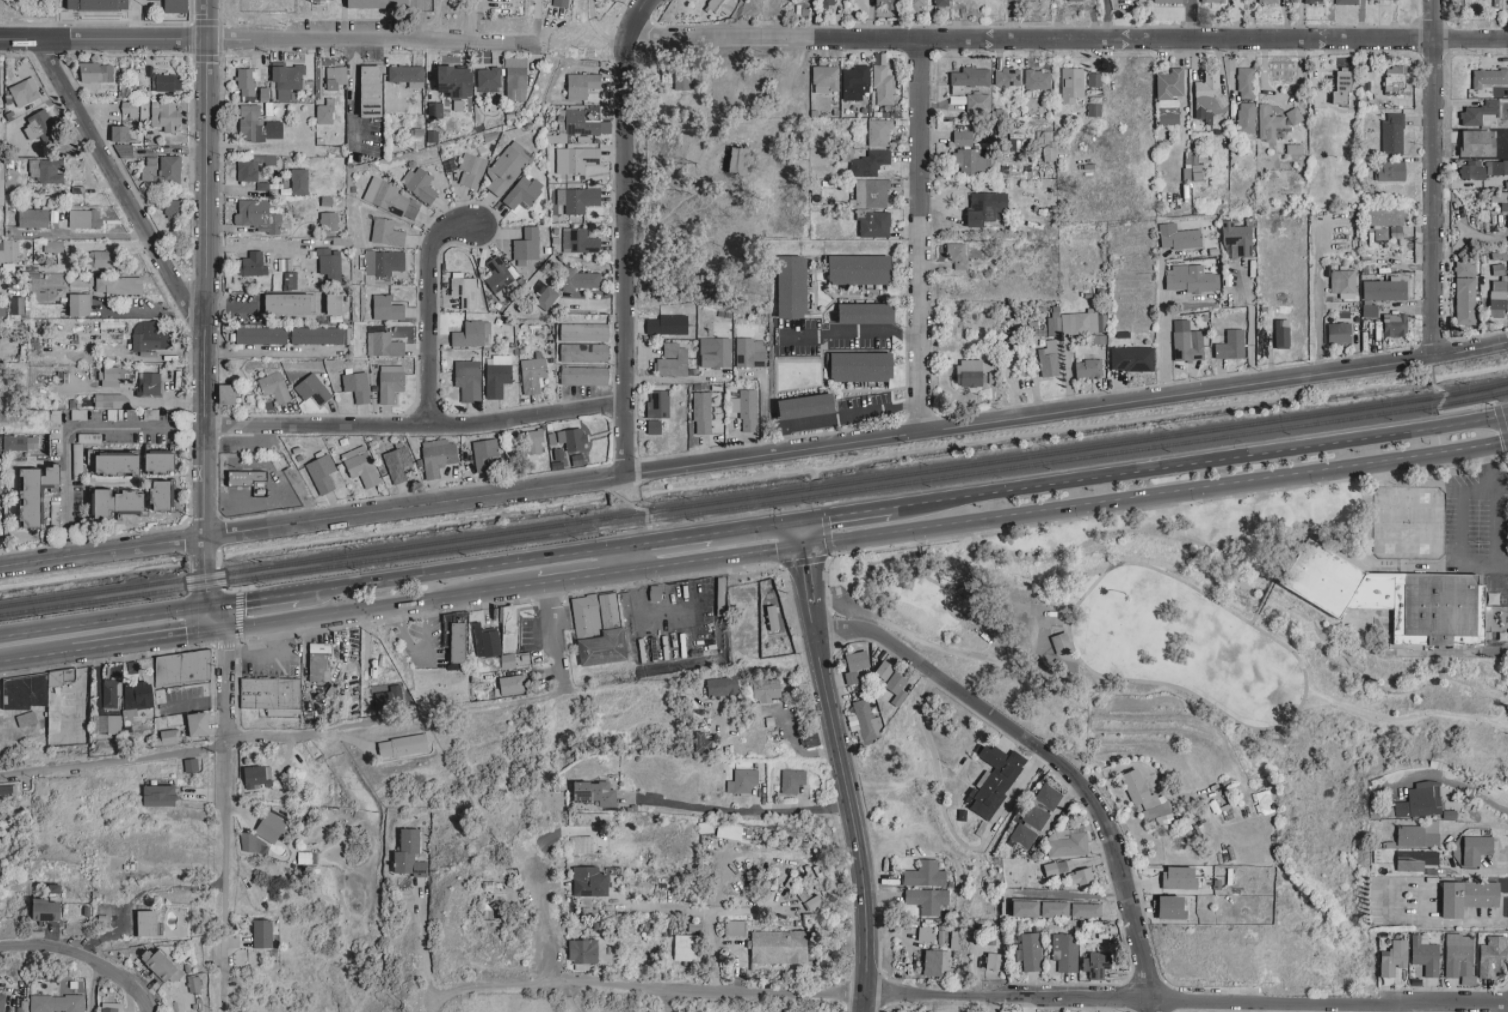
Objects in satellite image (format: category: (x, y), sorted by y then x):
building: (1374, 0)
building: (37, 1)
building: (1168, 1)
building: (1213, 1)
building: (1267, 1)
building: (1313, 1)
building: (561, 2)
building: (827, 2)
building: (917, 2)
building: (942, 2)
building: (1487, 2)
building: (375, 3)
building: (887, 4)
building: (97, 6)
building: (721, 6)
building: (175, 7)
road: (211, 20)
road: (470, 20)
road: (536, 20)
road: (636, 20)
road: (1300, 20)
road: (1106, 21)
road: (1192, 21)
road: (1506, 21)
road: (596, 28)
road: (105, 39)
road: (371, 41)
road: (1064, 42)
building: (97, 72)
building: (407, 75)
building: (683, 76)
building: (971, 76)
building: (1007, 76)
building: (336, 77)
building: (489, 77)
building: (1486, 77)
building: (516, 78)
building: (826, 78)
building: (1396, 78)
building: (1038, 79)
building: (1094, 79)
building: (287, 80)
building: (458, 80)
building: (855, 81)
building: (882, 81)
building: (166, 82)
building: (247, 82)
building: (1246, 82)
building: (1073, 84)
building: (582, 85)
building: (1343, 88)
building: (373, 90)
building: (24, 91)
building: (0, 92)
building: (1210, 92)
building: (1170, 95)
road: (353, 96)
building: (978, 102)
building: (1477, 112)
building: (325, 113)
building: (165, 114)
building: (592, 114)
building: (1294, 116)
building: (1246, 117)
building: (568, 122)
building: (1268, 122)
building: (258, 125)
building: (41, 126)
building: (120, 132)
building: (878, 132)
building: (1393, 132)
building: (1045, 137)
building: (963, 138)
building: (577, 158)
building: (741, 158)
building: (972, 161)
building: (870, 163)
building: (253, 166)
building: (507, 167)
building: (1498, 167)
building: (1192, 168)
building: (162, 169)
building: (46, 170)
building: (471, 170)
building: (1392, 171)
building: (1467, 171)
road: (1435, 178)
building: (300, 181)
building: (419, 184)
road: (122, 187)
building: (524, 192)
building: (1, 193)
building: (872, 193)
building: (390, 198)
building: (1498, 198)
building: (577, 199)
building: (332, 201)
building: (987, 207)
building: (172, 209)
building: (258, 215)
building: (1385, 216)
building: (33, 218)
building: (80, 218)
building: (329, 222)
building: (874, 223)
building: (386, 232)
building: (1396, 232)
road: (1467, 234)
road: (81, 237)
road: (920, 237)
building: (1178, 237)
building: (579, 240)
building: (1236, 240)
building: (53, 246)
building: (526, 246)
building: (9, 250)
building: (958, 255)
road: (624, 257)
building: (104, 258)
building: (329, 261)
building: (255, 262)
building: (383, 262)
building: (8, 266)
building: (860, 269)
building: (1497, 269)
building: (580, 278)
building: (1191, 278)
building: (500, 279)
building: (1344, 283)
building: (118, 285)
building: (793, 287)
road: (204, 288)
building: (463, 289)
building: (1385, 289)
building: (546, 298)
building: (1496, 298)
building: (1462, 300)
building: (17, 304)
building: (80, 304)
building: (289, 304)
building: (336, 304)
building: (1507, 306)
road: (232, 307)
building: (387, 308)
road: (434, 310)
building: (2, 311)
building: (1370, 311)
road: (142, 312)
building: (868, 313)
road: (1317, 320)
road: (1251, 322)
building: (668, 324)
building: (1396, 325)
building: (1053, 326)
road: (1164, 327)
building: (584, 332)
building: (1339, 332)
building: (1283, 333)
building: (469, 334)
building: (261, 335)
building: (316, 335)
road: (849, 336)
building: (151, 337)
building: (1186, 341)
building: (383, 344)
building: (1231, 344)
road: (272, 351)
building: (584, 352)
building: (715, 352)
building: (748, 354)
building: (1132, 358)
building: (1048, 359)
building: (672, 360)
building: (863, 366)
road: (1431, 366)
building: (1088, 368)
building: (970, 372)
building: (532, 374)
building: (497, 375)
building: (584, 375)
building: (111, 376)
building: (468, 380)
road: (1433, 381)
building: (391, 382)
building: (149, 384)
building: (357, 386)
building: (274, 387)
building: (313, 389)
railway: (1503, 392)
building: (228, 393)
building: (658, 404)
building: (809, 406)
building: (746, 409)
road: (1458, 409)
building: (704, 411)
road: (839, 416)
road: (416, 423)
building: (654, 426)
road: (69, 429)
building: (552, 438)
building: (574, 439)
road: (855, 441)
building: (19, 442)
building: (534, 442)
road: (1499, 443)
building: (486, 455)
building: (438, 457)
building: (163, 462)
building: (120, 463)
building: (397, 465)
building: (361, 466)
road: (1155, 470)
building: (322, 473)
building: (246, 477)
railway: (828, 485)
road: (625, 487)
building: (1, 490)
building: (38, 492)
building: (164, 494)
railway: (823, 494)
road: (1146, 496)
building: (118, 502)
road: (627, 502)
road: (204, 519)
road: (646, 519)
parking lot: (1478, 519)
road: (803, 534)
road: (651, 535)
road: (920, 537)
road: (94, 538)
road: (68, 547)
road: (101, 551)
road: (922, 556)
road: (550, 558)
road: (217, 559)
road: (631, 560)
road: (719, 561)
road: (1483, 564)
road: (1502, 564)
road: (202, 572)
road: (806, 572)
road: (1278, 576)
road: (219, 577)
road: (588, 581)
road: (230, 590)
building: (690, 592)
railway: (74, 595)
road: (1266, 597)
building: (1394, 598)
road: (252, 601)
railway: (74, 603)
road: (383, 611)
park: (1243, 613)
road: (812, 617)
road: (1256, 619)
road: (215, 622)
road: (103, 623)
building: (511, 632)
building: (601, 634)
building: (486, 641)
building: (1061, 642)
road: (678, 643)
road: (149, 646)
building: (456, 649)
road: (948, 649)
road: (265, 652)
road: (421, 655)
road: (37, 662)
building: (321, 664)
building: (511, 664)
building: (857, 667)
building: (182, 668)
building: (893, 681)
building: (59, 682)
building: (514, 685)
building: (722, 686)
building: (766, 689)
building: (110, 693)
building: (136, 697)
building: (387, 697)
building: (273, 699)
building: (23, 703)
road: (494, 703)
road: (1406, 717)
building: (862, 720)
building: (59, 722)
building: (106, 724)
building: (199, 724)
road: (1247, 725)
road: (277, 735)
building: (170, 736)
building: (702, 743)
building: (403, 746)
road: (1048, 754)
road: (113, 761)
building: (191, 765)
building: (254, 776)
road: (1450, 779)
building: (996, 780)
building: (742, 781)
building: (792, 781)
building: (9, 792)
building: (596, 793)
building: (159, 795)
building: (1144, 795)
building: (1048, 797)
building: (1421, 800)
road: (737, 811)
road: (851, 816)
building: (1035, 817)
road: (226, 824)
building: (270, 827)
building: (729, 830)
building: (1419, 835)
building: (1021, 840)
building: (252, 843)
building: (1067, 843)
building: (581, 844)
building: (1477, 849)
building: (410, 854)
building: (307, 858)
building: (1416, 860)
building: (925, 875)
building: (1081, 877)
building: (1180, 878)
building: (590, 882)
road: (1071, 895)
building: (1470, 897)
road: (1422, 899)
building: (928, 900)
building: (1174, 907)
building: (1026, 908)
building: (1055, 909)
building: (47, 910)
building: (1086, 910)
road: (540, 916)
road: (1426, 919)
building: (148, 923)
building: (736, 927)
building: (264, 934)
building: (926, 934)
road: (424, 940)
building: (685, 947)
building: (779, 947)
building: (584, 951)
building: (1029, 951)
building: (1065, 952)
building: (1426, 955)
building: (1459, 955)
road: (84, 957)
building: (1493, 957)
building: (1395, 958)
building: (993, 961)
building: (937, 963)
building: (1096, 965)
building: (162, 966)
building: (194, 984)
road: (92, 987)
road: (968, 997)
building: (2, 1003)
building: (57, 1003)
road: (864, 1004)
road: (1154, 1005)
building: (111, 1007)

